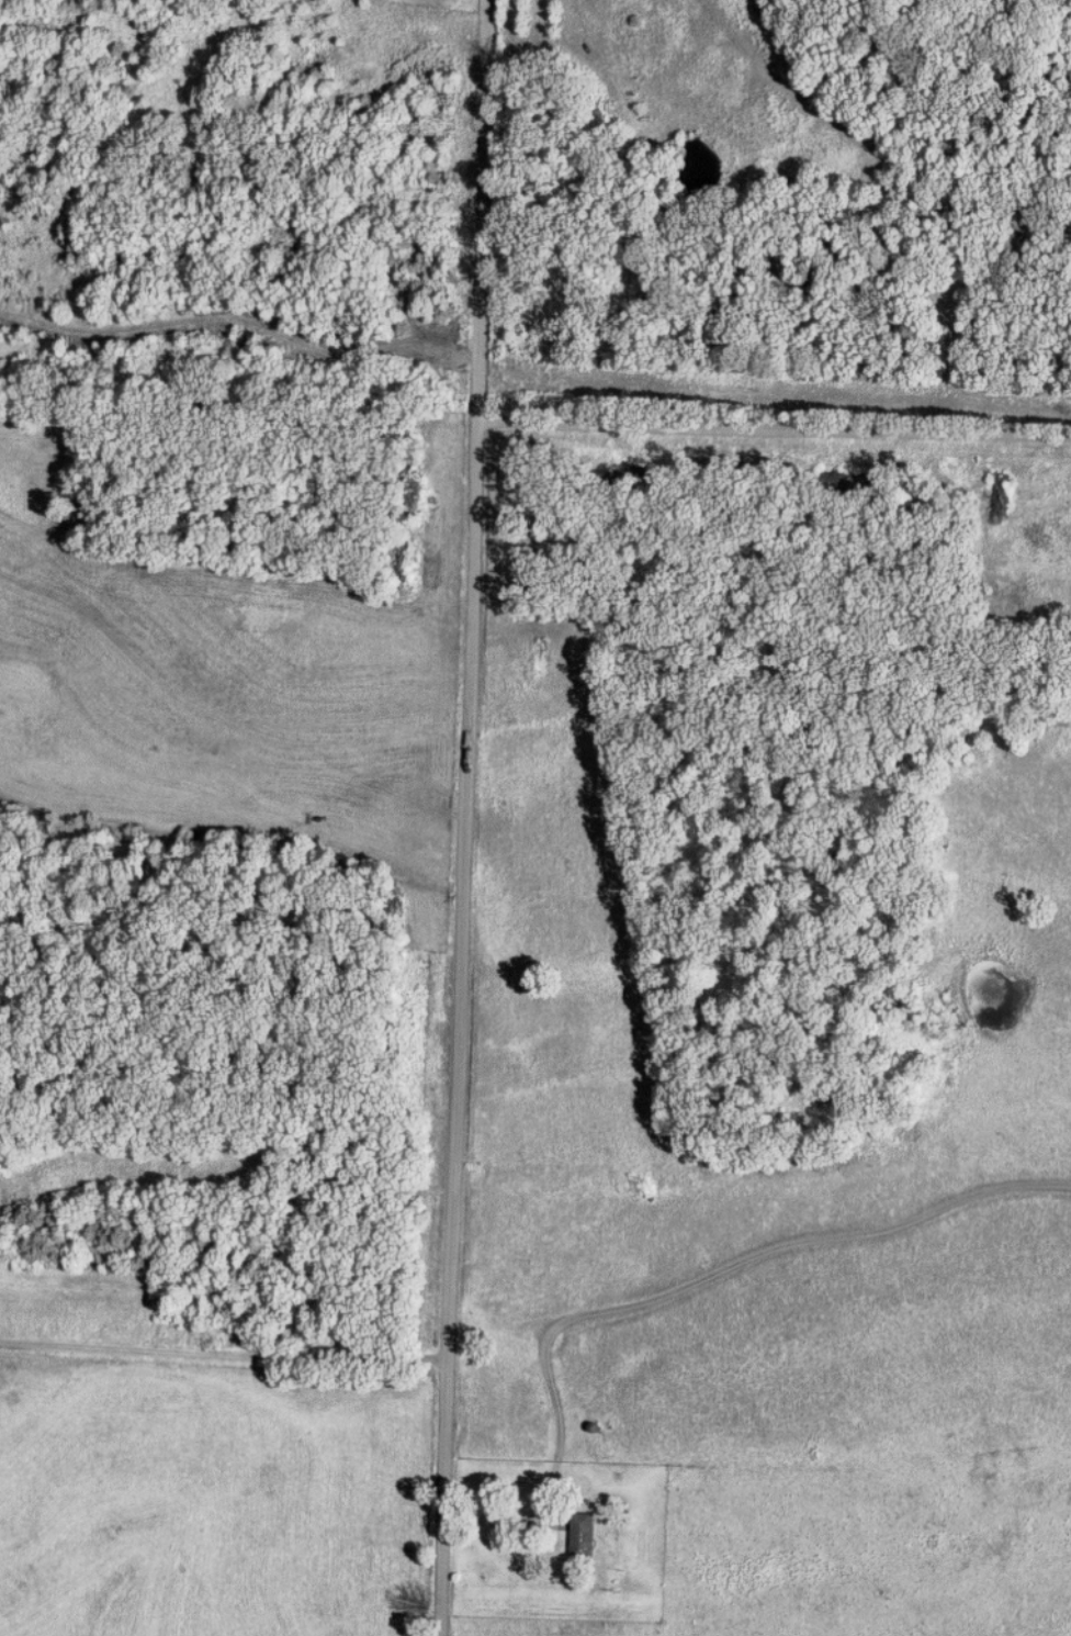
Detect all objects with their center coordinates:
road: (773, 430)
road: (463, 817)
road: (551, 1486)
building: (583, 1537)

